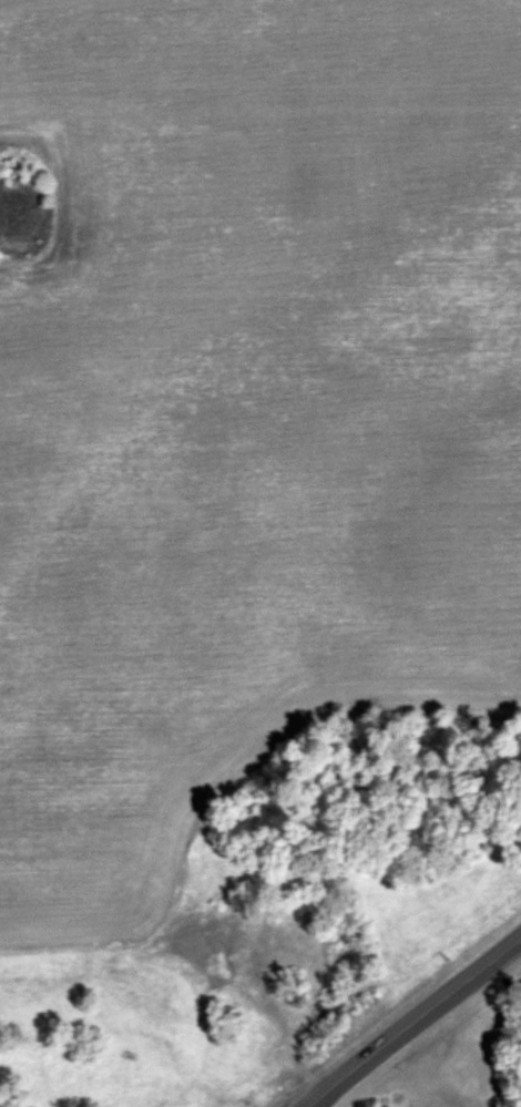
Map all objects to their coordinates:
road: (415, 1022)

